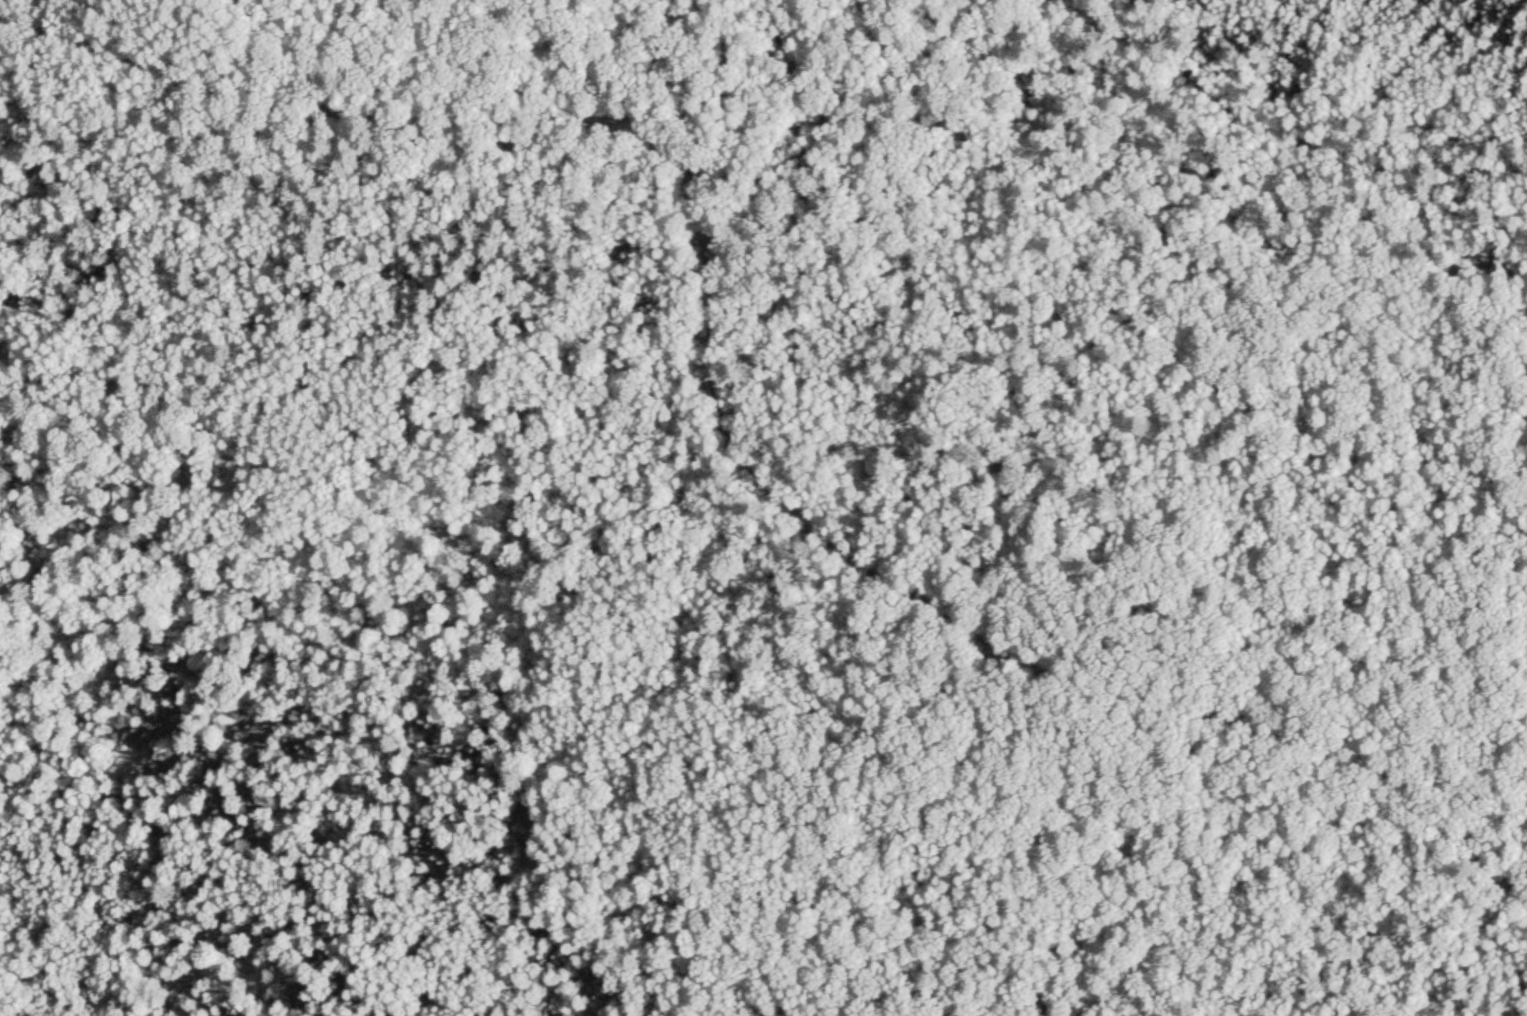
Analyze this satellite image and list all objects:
road: (1284, 130)
road: (710, 421)
park: (763, 508)

